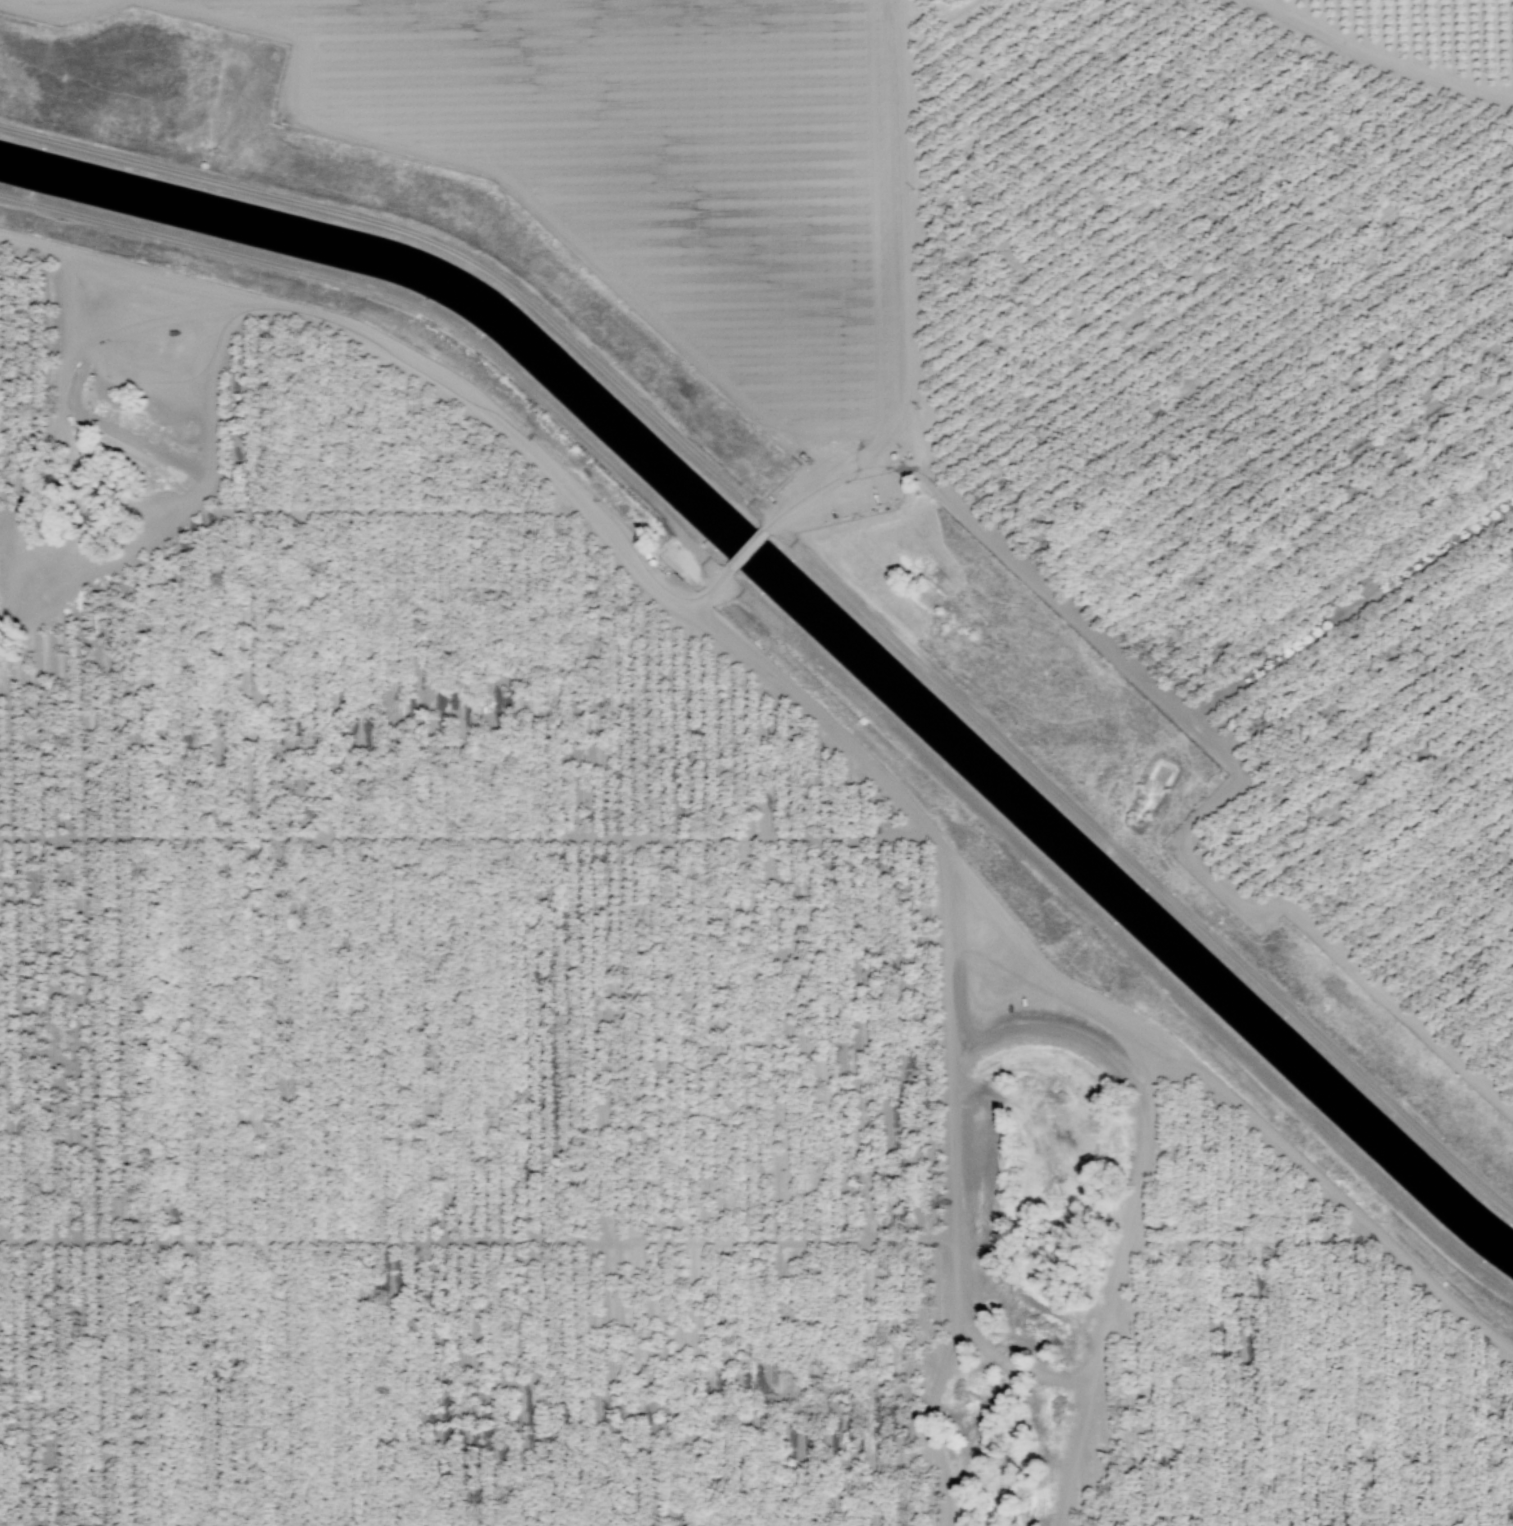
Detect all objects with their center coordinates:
road: (549, 9)
road: (59, 12)
road: (1381, 59)
road: (503, 179)
road: (132, 272)
road: (906, 298)
road: (320, 315)
road: (387, 510)
road: (745, 550)
road: (22, 580)
road: (1233, 784)
road: (466, 837)
road: (1079, 998)
road: (956, 1189)
road: (479, 1239)
road: (1253, 1241)
road: (1115, 1284)
road: (1016, 1365)

